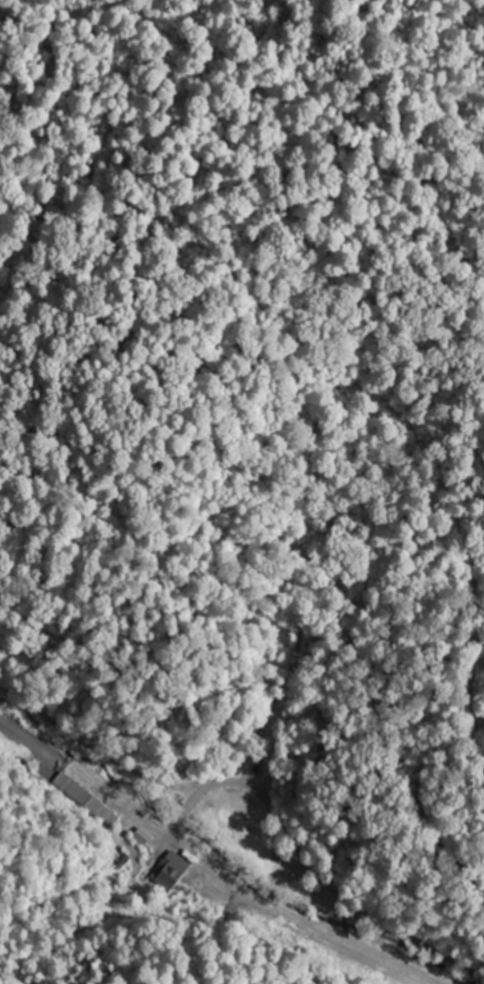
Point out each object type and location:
road: (246, 750)
building: (170, 869)

